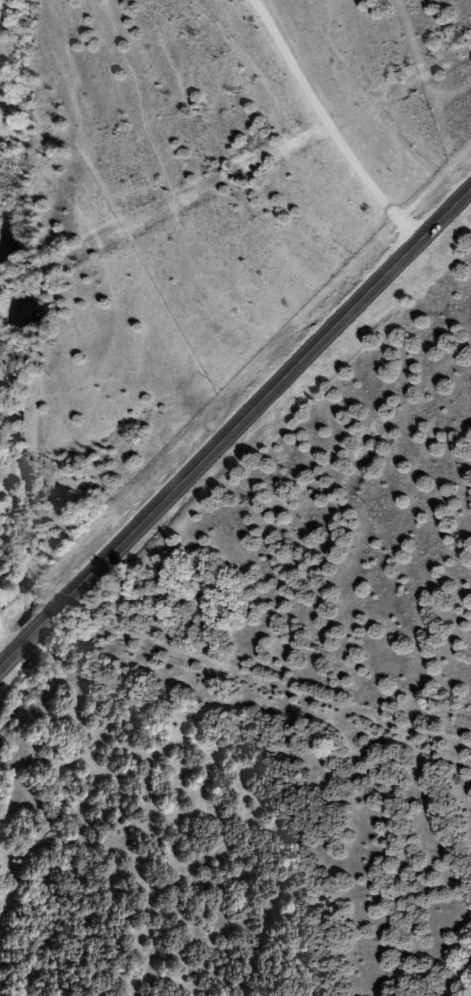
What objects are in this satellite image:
road: (235, 427)
road: (269, 695)

